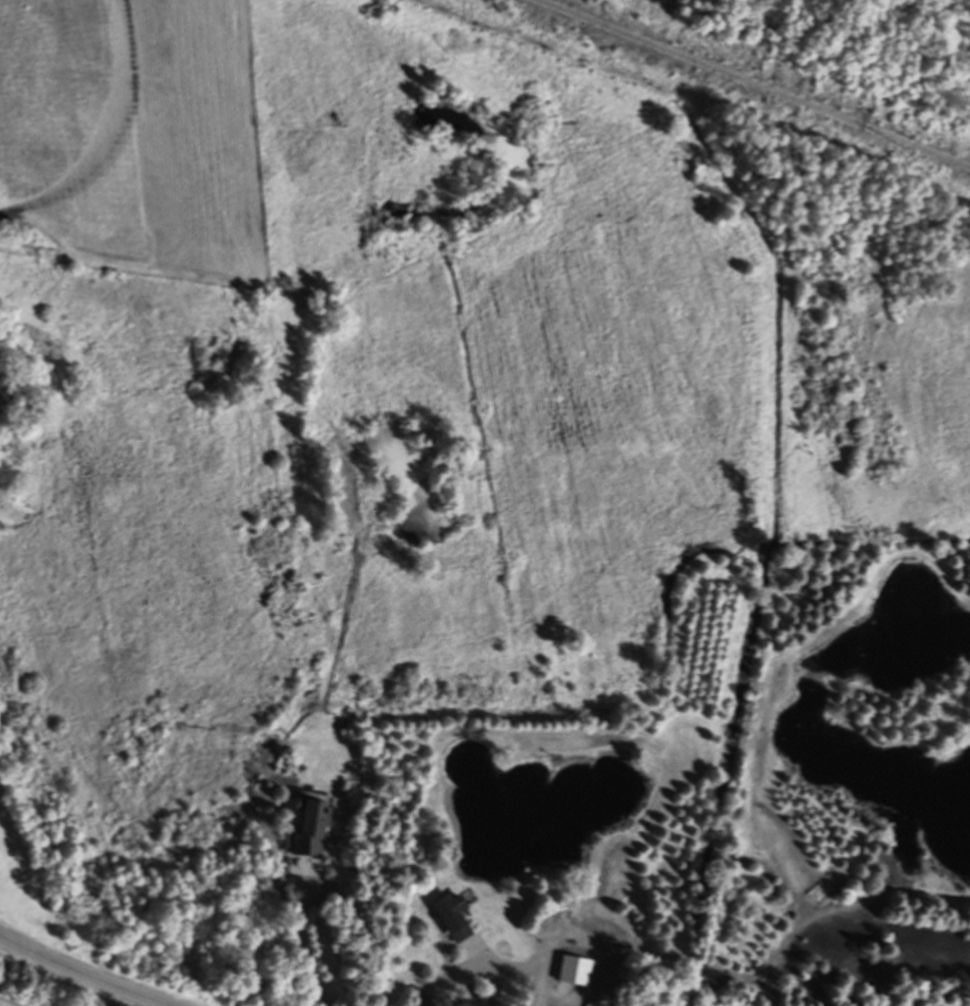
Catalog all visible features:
power tower: (915, 148)
building: (309, 833)
building: (453, 919)
road: (305, 939)
road: (490, 968)
road: (80, 973)
building: (575, 973)

